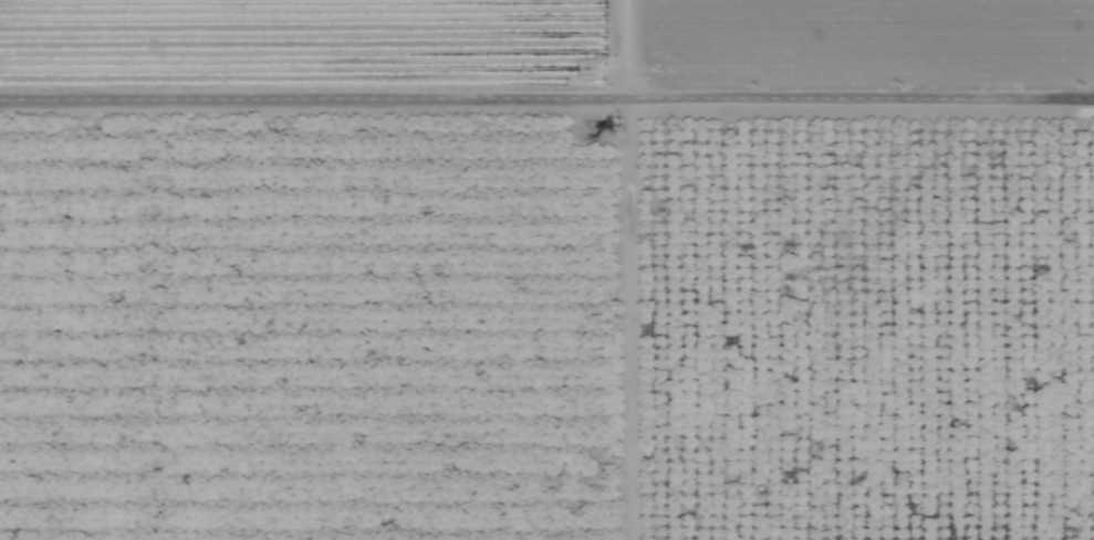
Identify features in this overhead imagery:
road: (614, 52)
road: (546, 104)

